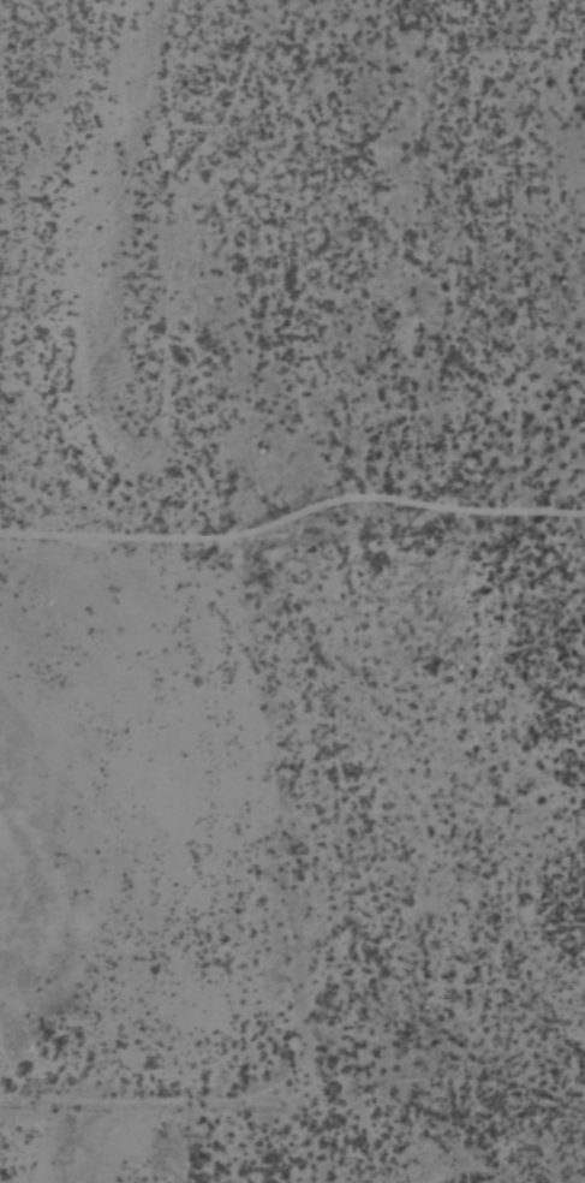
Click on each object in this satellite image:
road: (293, 516)

